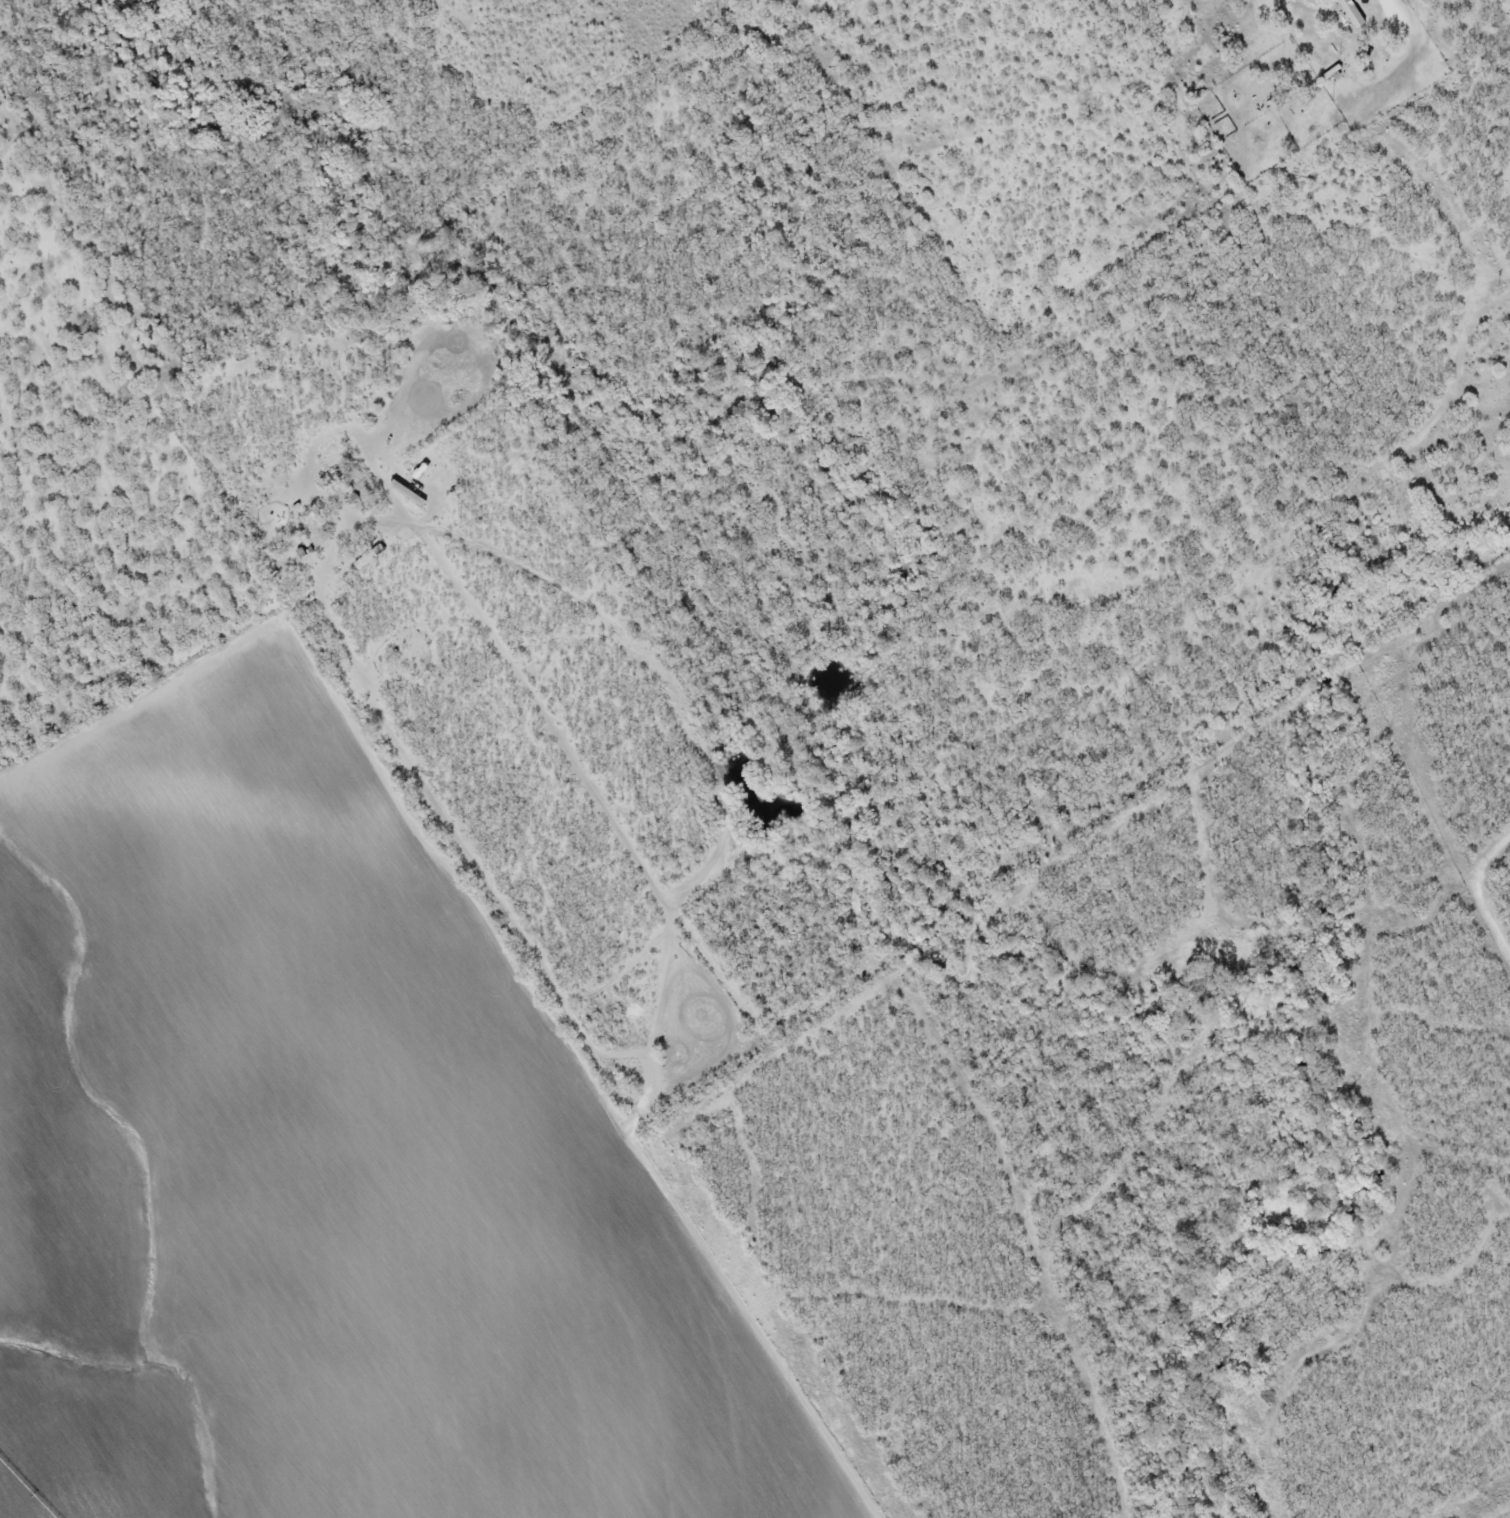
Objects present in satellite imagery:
road: (1393, 10)
building: (1348, 14)
road: (1482, 897)

